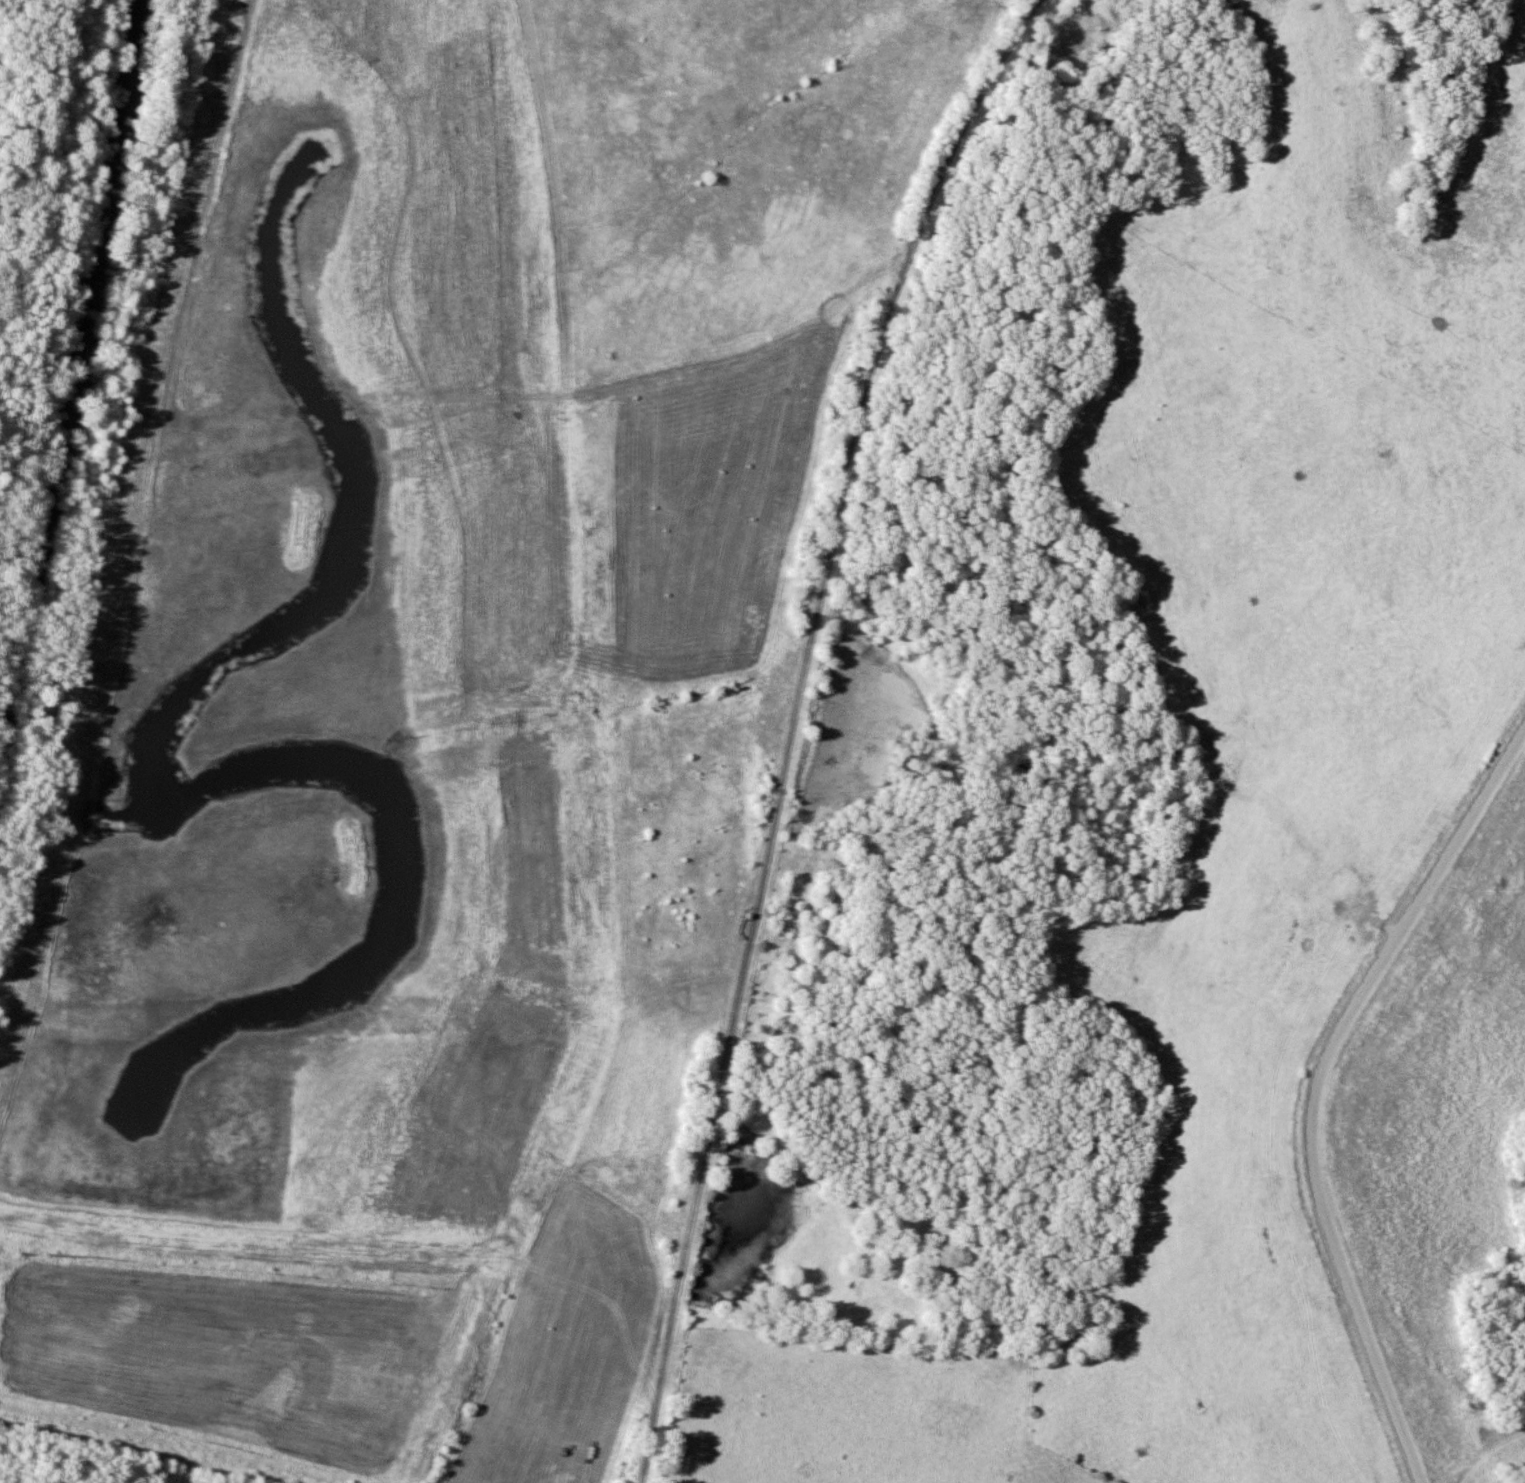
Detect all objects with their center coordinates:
river: (82, 400)
road: (1315, 1084)
road: (1484, 1453)

